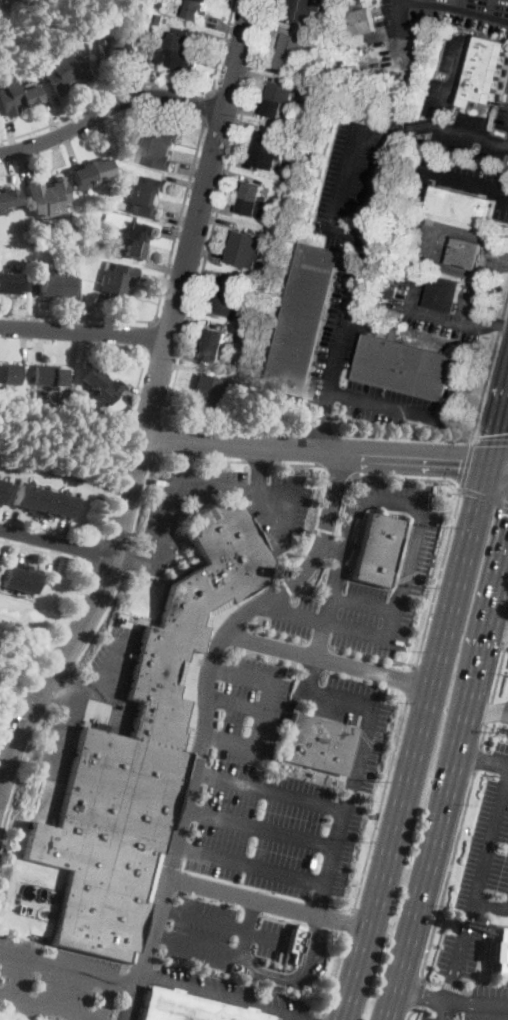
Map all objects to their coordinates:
building: (203, 0)
building: (0, 1)
building: (309, 2)
building: (161, 4)
building: (196, 9)
road: (457, 9)
building: (302, 11)
building: (365, 17)
building: (159, 19)
building: (88, 21)
road: (225, 25)
road: (269, 25)
parking lot: (419, 36)
building: (182, 39)
road: (223, 40)
building: (127, 44)
building: (295, 44)
building: (319, 48)
building: (108, 49)
building: (177, 58)
building: (288, 59)
road: (259, 64)
building: (72, 65)
parking lot: (451, 71)
building: (487, 72)
road: (258, 73)
building: (57, 76)
building: (180, 76)
road: (154, 80)
road: (454, 80)
road: (147, 83)
road: (145, 84)
road: (113, 88)
building: (280, 90)
building: (28, 93)
road: (100, 94)
building: (10, 97)
road: (208, 103)
building: (278, 105)
road: (110, 106)
building: (323, 109)
road: (138, 110)
road: (247, 111)
road: (61, 113)
road: (399, 113)
road: (50, 117)
road: (245, 122)
road: (451, 127)
parking lot: (476, 132)
road: (10, 136)
road: (104, 136)
building: (160, 137)
building: (268, 142)
road: (1, 147)
road: (69, 149)
road: (58, 154)
building: (155, 157)
building: (264, 158)
road: (232, 162)
road: (21, 163)
building: (288, 163)
road: (11, 167)
building: (100, 170)
road: (193, 172)
road: (229, 173)
building: (83, 177)
parking lot: (462, 179)
road: (465, 179)
road: (186, 182)
parking lot: (357, 185)
building: (149, 186)
road: (506, 190)
building: (254, 191)
building: (122, 192)
building: (58, 193)
building: (8, 198)
building: (40, 199)
building: (143, 205)
building: (461, 205)
road: (217, 206)
building: (252, 207)
building: (0, 211)
road: (216, 211)
road: (217, 219)
road: (182, 220)
road: (369, 229)
building: (137, 231)
road: (179, 233)
building: (248, 240)
parking lot: (432, 241)
building: (132, 247)
road: (431, 247)
road: (205, 253)
building: (466, 253)
building: (244, 256)
building: (77, 257)
road: (165, 267)
road: (204, 269)
building: (275, 271)
building: (119, 274)
road: (160, 279)
building: (2, 280)
building: (11, 282)
building: (48, 285)
building: (62, 285)
building: (232, 288)
road: (161, 290)
building: (114, 292)
building: (445, 293)
building: (228, 304)
parking lot: (475, 306)
road: (35, 308)
building: (386, 308)
road: (23, 309)
road: (200, 309)
road: (75, 311)
road: (443, 317)
road: (86, 318)
road: (347, 318)
road: (197, 319)
building: (305, 321)
parking lot: (346, 321)
road: (489, 322)
road: (83, 332)
road: (148, 334)
building: (218, 338)
road: (39, 345)
road: (89, 349)
building: (214, 352)
road: (25, 353)
road: (73, 355)
road: (184, 355)
building: (248, 356)
road: (183, 365)
road: (489, 366)
building: (405, 368)
building: (1, 373)
building: (10, 374)
building: (44, 375)
building: (59, 377)
building: (92, 379)
road: (139, 379)
building: (207, 384)
road: (140, 390)
building: (105, 392)
building: (205, 401)
road: (150, 405)
road: (390, 405)
road: (497, 422)
road: (321, 427)
road: (283, 429)
road: (321, 432)
traffic signals: (495, 432)
road: (404, 436)
road: (158, 439)
road: (490, 441)
road: (314, 449)
road: (154, 457)
traffic signals: (460, 459)
road: (260, 461)
road: (467, 462)
road: (299, 464)
road: (497, 465)
road: (338, 468)
road: (257, 469)
road: (407, 478)
road: (190, 485)
building: (2, 486)
road: (483, 495)
building: (23, 496)
building: (38, 500)
building: (52, 504)
building: (66, 505)
road: (5, 519)
parking lot: (279, 519)
road: (16, 521)
road: (34, 526)
road: (43, 529)
road: (62, 532)
road: (56, 542)
road: (7, 543)
parking lot: (419, 544)
road: (25, 546)
road: (33, 549)
building: (377, 549)
road: (330, 550)
road: (45, 551)
road: (56, 555)
road: (505, 556)
road: (129, 558)
road: (341, 560)
road: (133, 561)
road: (104, 570)
building: (14, 574)
building: (30, 578)
road: (397, 598)
road: (363, 603)
road: (271, 604)
road: (426, 620)
road: (99, 626)
road: (498, 629)
road: (507, 635)
parking lot: (114, 655)
road: (113, 656)
road: (315, 656)
road: (324, 659)
road: (498, 670)
road: (409, 680)
road: (61, 687)
road: (63, 690)
road: (237, 703)
road: (265, 711)
road: (488, 711)
road: (488, 711)
road: (206, 715)
road: (483, 733)
road: (410, 741)
road: (62, 742)
building: (317, 744)
building: (140, 756)
road: (476, 756)
road: (476, 758)
road: (501, 763)
road: (21, 774)
road: (352, 778)
road: (452, 781)
parking lot: (284, 789)
road: (270, 790)
road: (378, 803)
road: (260, 828)
parking lot: (489, 845)
road: (484, 851)
road: (251, 865)
road: (447, 875)
road: (265, 901)
road: (203, 919)
road: (249, 922)
road: (347, 922)
parking lot: (202, 933)
road: (264, 936)
parking lot: (270, 938)
building: (294, 942)
road: (197, 944)
road: (309, 945)
building: (499, 951)
parking lot: (312, 958)
road: (58, 968)
road: (262, 972)
parking lot: (456, 972)
road: (332, 974)
road: (452, 975)
road: (479, 980)
parking lot: (54, 981)
road: (430, 982)
road: (125, 986)
road: (451, 987)
parking lot: (234, 993)
road: (417, 994)
road: (426, 995)
road: (224, 996)
road: (103, 1001)
road: (482, 1004)
road: (45, 1007)
building: (190, 1008)
road: (410, 1014)
road: (290, 1017)
road: (320, 1017)

